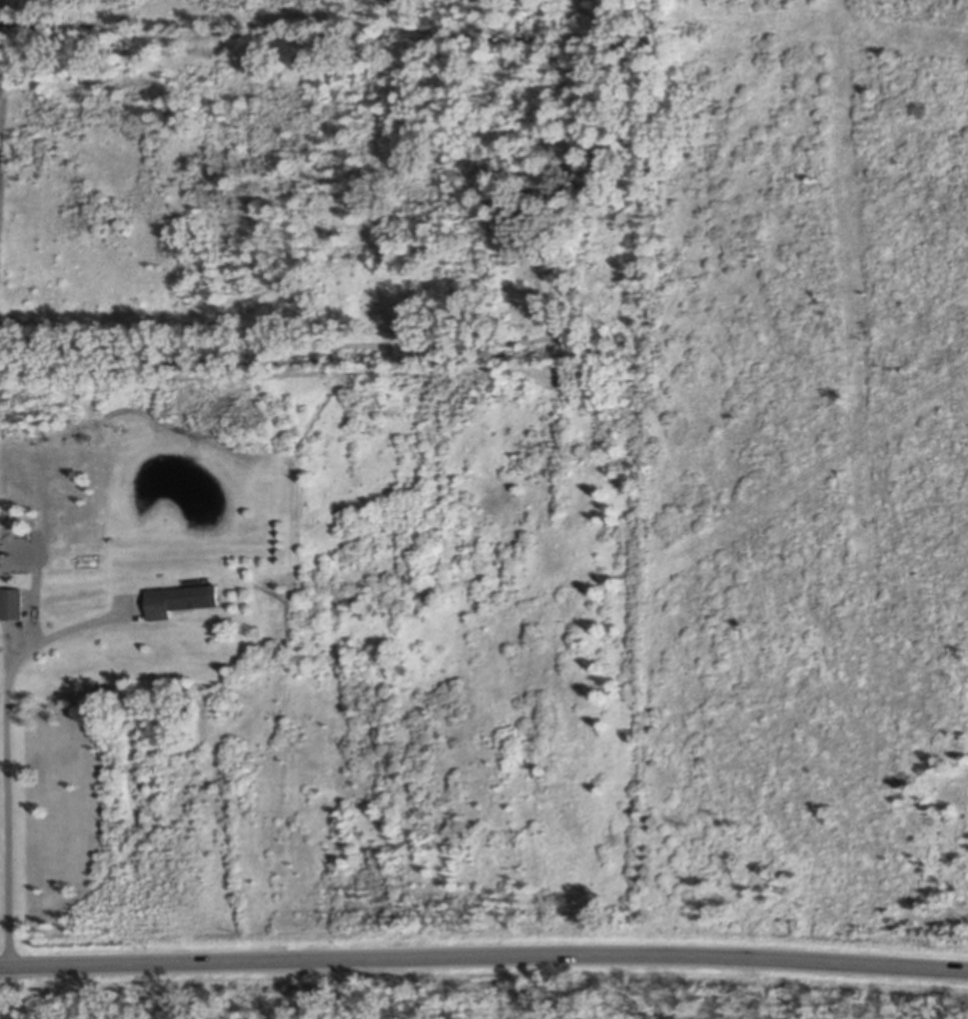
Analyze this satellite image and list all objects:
building: (179, 597)
building: (10, 601)
road: (7, 750)
road: (484, 953)

